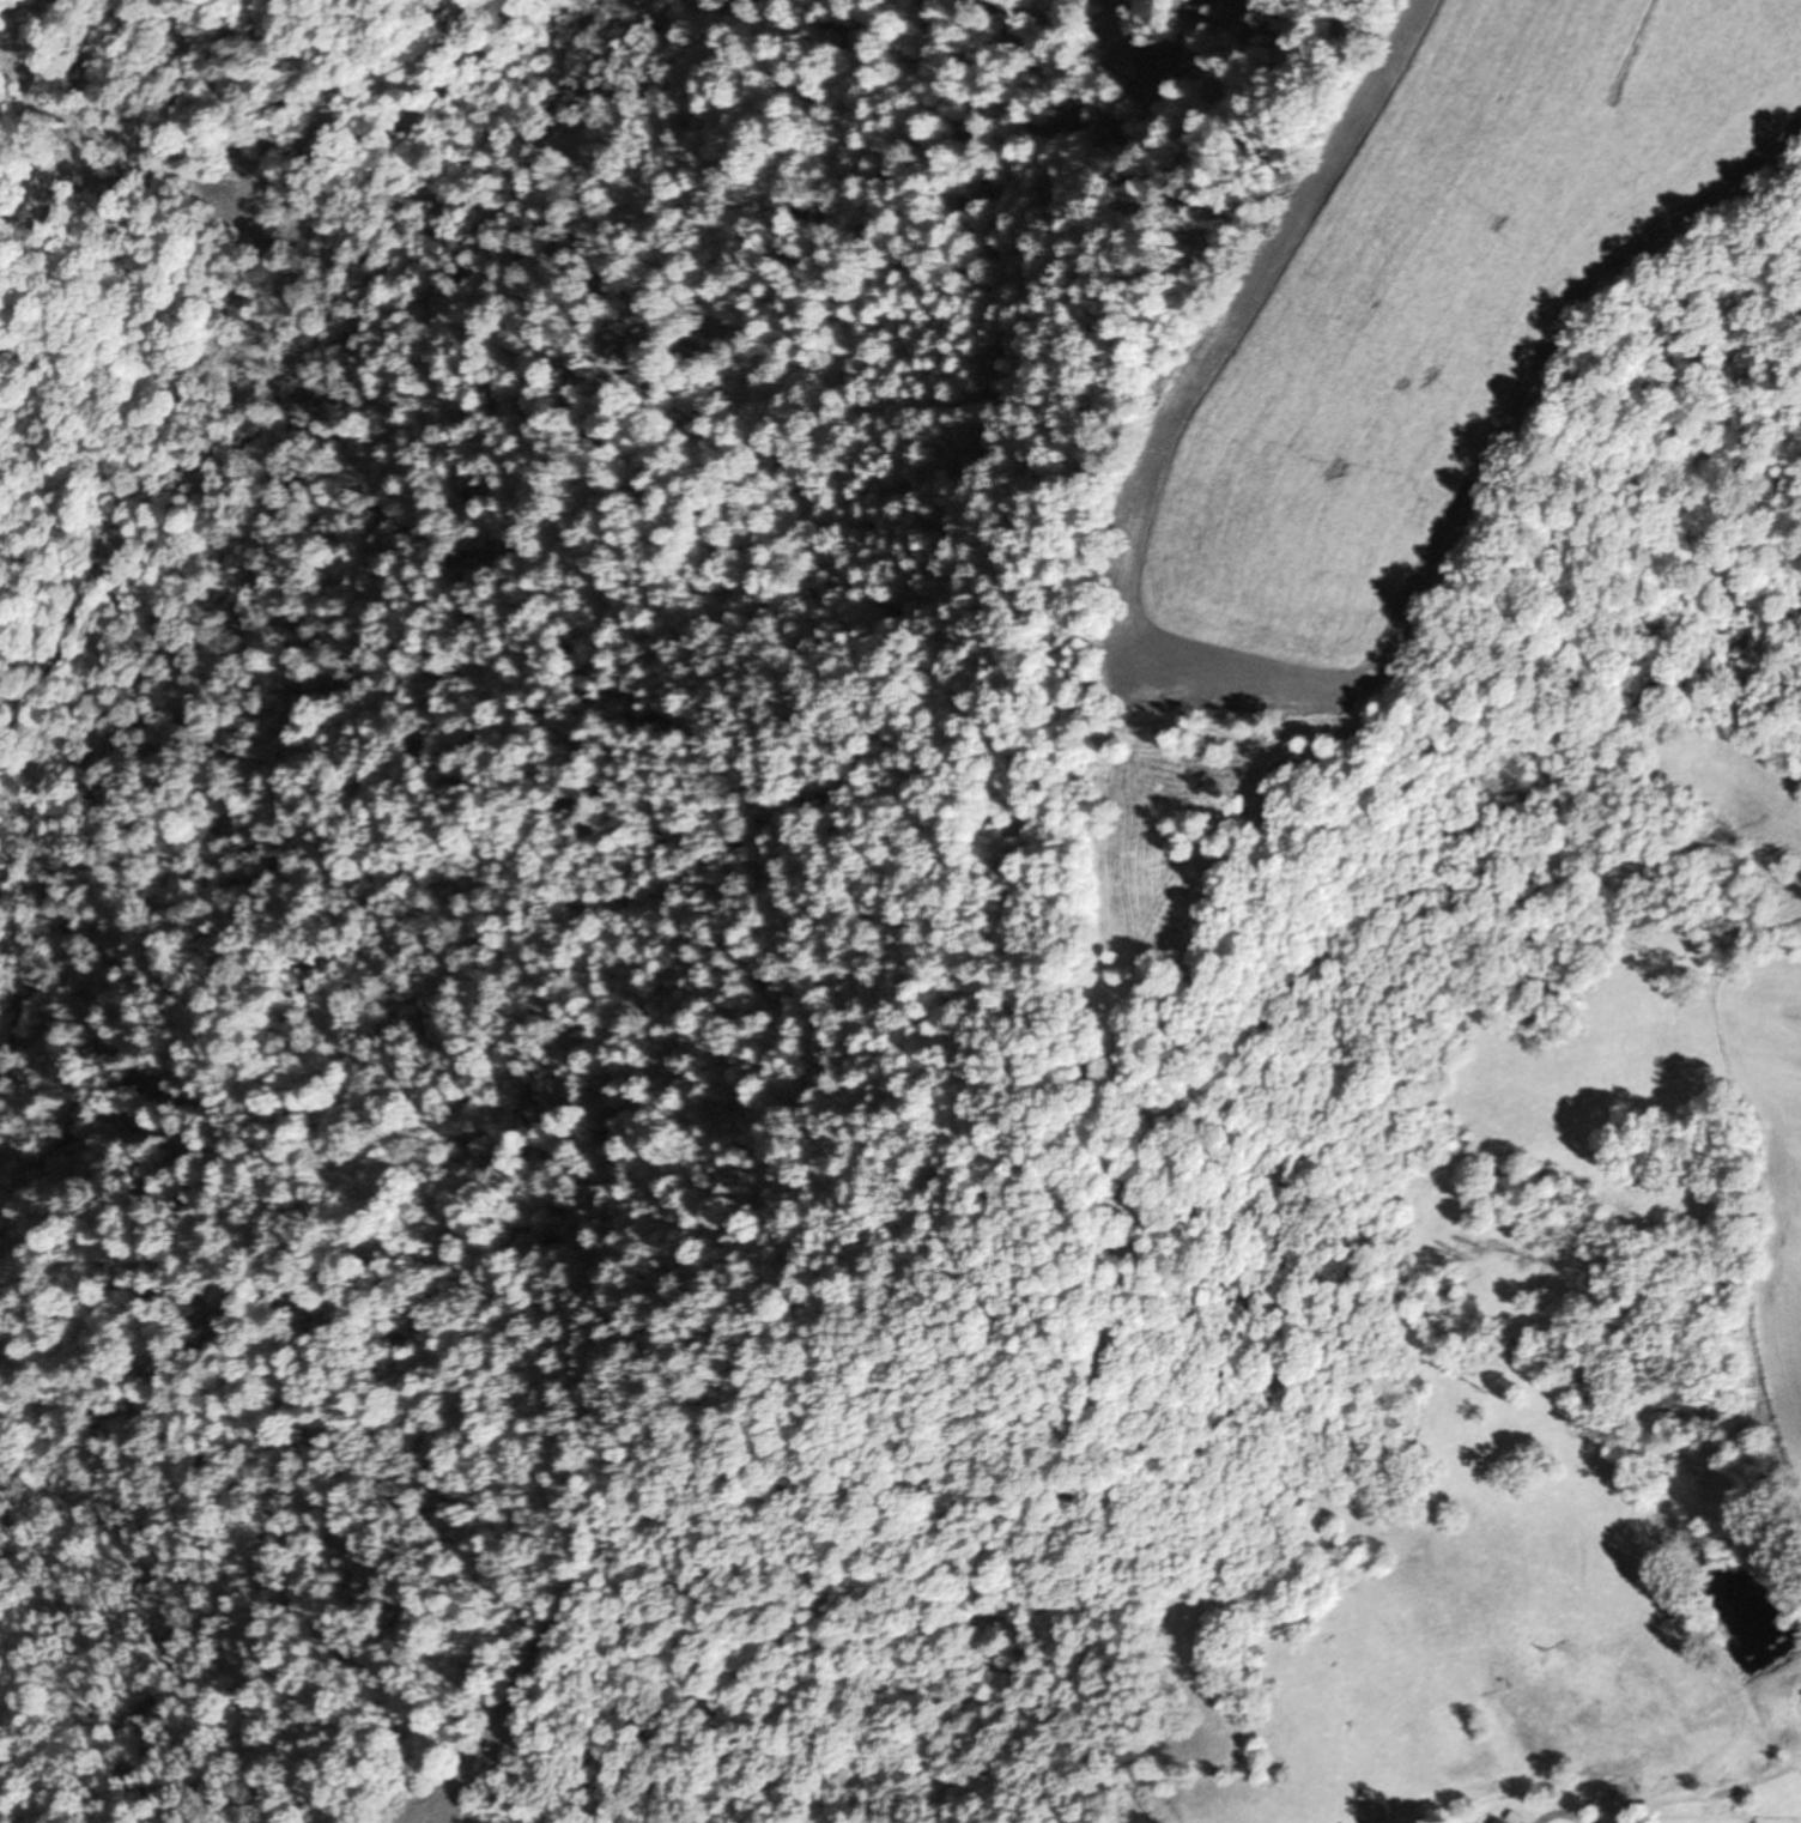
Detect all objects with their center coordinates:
building: (1504, 1821)

